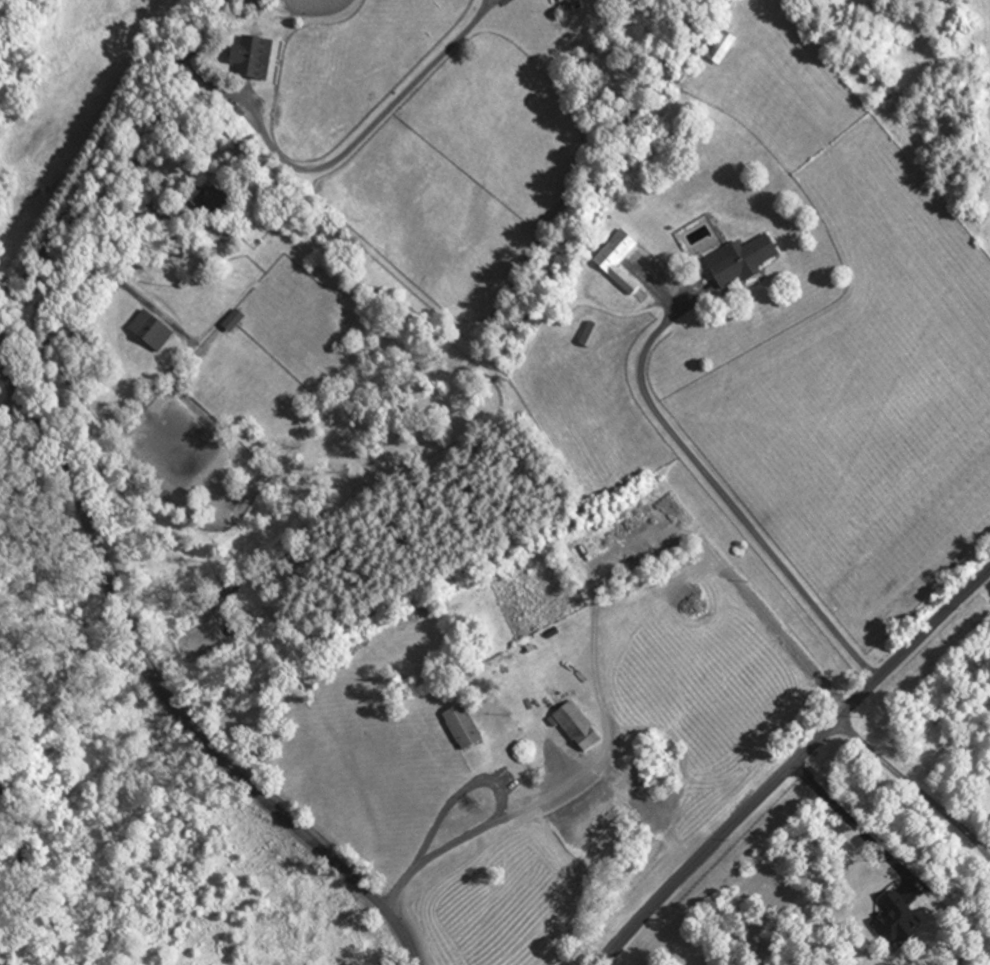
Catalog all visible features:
road: (202, 31)
building: (719, 48)
building: (249, 58)
road: (343, 152)
road: (88, 175)
building: (203, 200)
building: (614, 261)
building: (737, 262)
road: (72, 296)
building: (146, 332)
building: (586, 335)
road: (9, 404)
road: (727, 499)
road: (160, 695)
building: (458, 728)
building: (573, 728)
road: (790, 761)
road: (913, 786)
road: (461, 793)
road: (851, 823)
road: (487, 829)

